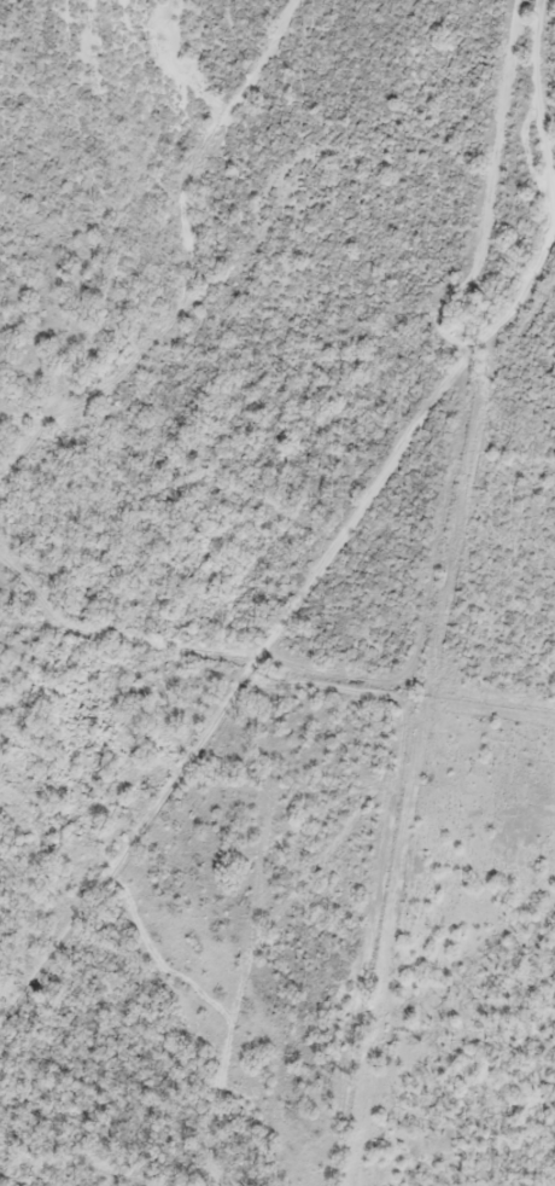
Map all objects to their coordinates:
road: (327, 522)

